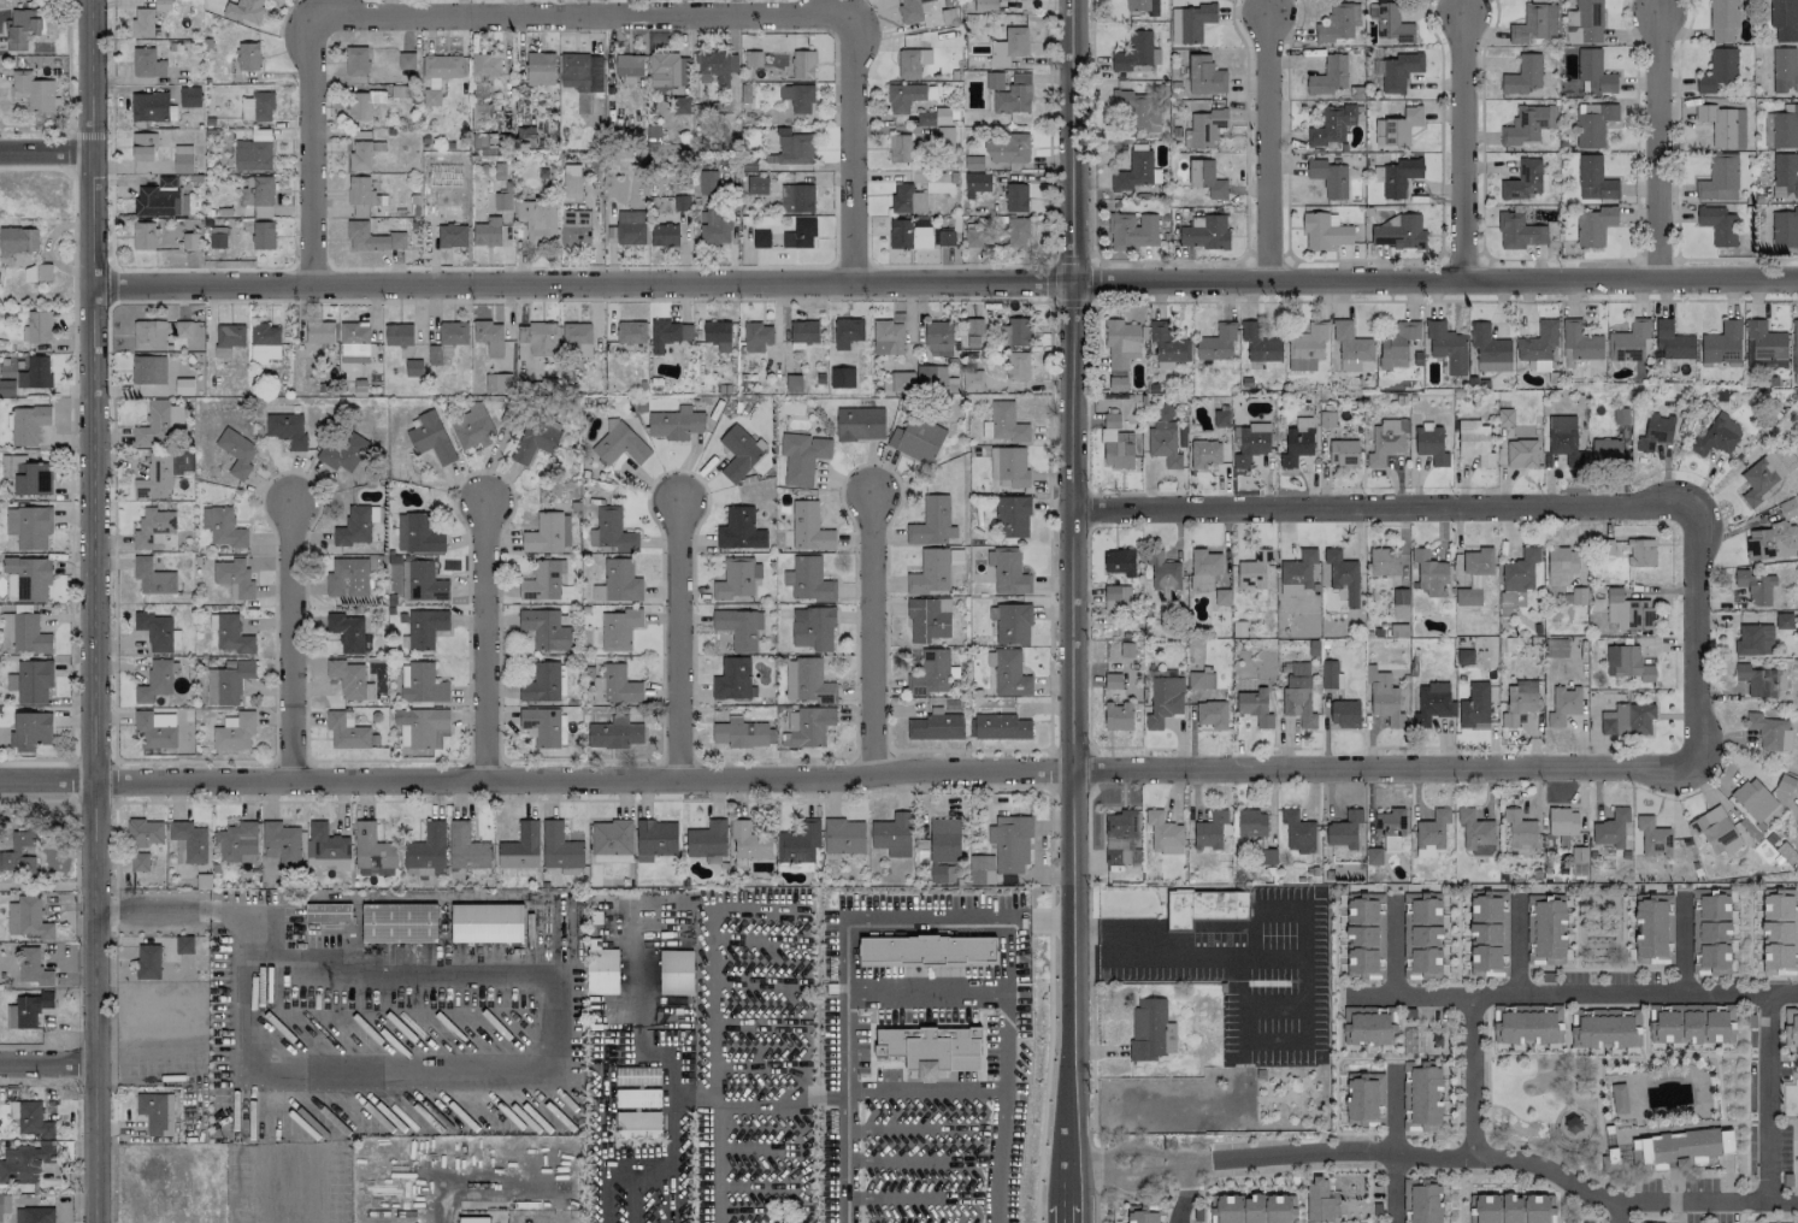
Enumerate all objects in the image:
building: (1000, 0)
building: (161, 5)
building: (984, 6)
building: (1143, 6)
building: (913, 8)
building: (244, 11)
road: (580, 14)
building: (1722, 19)
building: (1782, 20)
building: (1584, 22)
building: (142, 23)
building: (1189, 23)
building: (1338, 23)
building: (1390, 23)
building: (1534, 23)
building: (20, 28)
building: (1015, 35)
building: (1136, 52)
building: (248, 57)
building: (406, 60)
building: (355, 61)
building: (912, 61)
building: (148, 64)
building: (802, 65)
building: (629, 66)
building: (714, 66)
building: (540, 69)
building: (1719, 70)
building: (1784, 70)
building: (484, 71)
building: (667, 71)
building: (1399, 71)
building: (1593, 71)
building: (580, 72)
building: (438, 75)
building: (1522, 75)
building: (1328, 76)
building: (994, 79)
building: (31, 90)
building: (1013, 95)
building: (189, 96)
building: (903, 96)
building: (797, 98)
building: (258, 106)
building: (358, 106)
building: (148, 107)
building: (1136, 111)
building: (932, 117)
building: (1528, 124)
building: (1593, 124)
building: (1332, 125)
building: (1723, 125)
building: (1397, 128)
building: (1784, 128)
building: (1203, 129)
road: (34, 131)
road: (69, 131)
building: (525, 136)
building: (485, 141)
building: (142, 147)
building: (794, 147)
road: (1266, 147)
road: (1660, 147)
building: (900, 148)
road: (1463, 148)
building: (1007, 149)
road: (43, 154)
building: (364, 154)
building: (252, 155)
building: (182, 159)
building: (973, 163)
building: (1133, 171)
building: (1397, 176)
building: (1784, 176)
building: (1328, 177)
building: (1719, 178)
building: (1208, 179)
building: (1593, 179)
building: (1523, 181)
building: (707, 182)
building: (571, 183)
building: (975, 183)
building: (756, 185)
building: (258, 195)
building: (362, 196)
building: (1015, 197)
building: (160, 199)
building: (797, 199)
building: (907, 199)
building: (501, 201)
building: (537, 221)
building: (1593, 225)
building: (1717, 225)
building: (715, 226)
building: (574, 228)
building: (630, 228)
building: (1784, 229)
building: (1132, 231)
building: (1324, 231)
building: (1519, 231)
building: (487, 232)
building: (1016, 232)
building: (1399, 232)
building: (263, 235)
building: (664, 235)
building: (800, 235)
building: (908, 235)
building: (143, 236)
building: (452, 236)
building: (217, 237)
building: (372, 238)
building: (760, 238)
building: (945, 238)
building: (973, 238)
building: (18, 240)
building: (189, 241)
building: (36, 273)
road: (943, 283)
building: (39, 326)
building: (973, 326)
building: (183, 329)
building: (196, 330)
building: (1016, 331)
building: (319, 332)
building: (631, 332)
building: (803, 332)
building: (847, 332)
building: (148, 335)
building: (397, 335)
building: (664, 335)
building: (717, 335)
building: (938, 336)
building: (489, 337)
building: (756, 337)
building: (888, 337)
building: (228, 338)
building: (537, 338)
building: (576, 338)
building: (973, 341)
building: (1672, 341)
building: (447, 342)
building: (1538, 342)
building: (1628, 342)
building: (264, 343)
building: (1168, 343)
building: (1216, 343)
building: (1260, 343)
building: (1579, 343)
building: (1722, 343)
building: (1397, 344)
building: (1763, 345)
building: (353, 347)
building: (1350, 347)
building: (1446, 347)
building: (1794, 347)
building: (1305, 348)
building: (1120, 350)
building: (1490, 350)
building: (1016, 366)
building: (412, 367)
building: (148, 370)
building: (34, 373)
building: (841, 377)
building: (902, 382)
building: (497, 383)
building: (790, 383)
building: (183, 386)
building: (6, 388)
building: (1621, 415)
building: (1504, 416)
building: (1006, 421)
building: (28, 424)
building: (159, 424)
building: (674, 424)
building: (860, 424)
building: (471, 427)
building: (287, 429)
building: (1655, 432)
building: (1716, 436)
building: (430, 437)
building: (916, 439)
building: (1564, 439)
building: (1386, 441)
building: (533, 442)
building: (1166, 442)
building: (1474, 442)
building: (1249, 443)
building: (1431, 444)
building: (620, 445)
building: (1296, 445)
building: (1116, 449)
building: (1605, 450)
building: (342, 451)
building: (738, 451)
building: (236, 453)
building: (1343, 453)
building: (1521, 453)
building: (1204, 454)
building: (802, 456)
road: (70, 460)
building: (1008, 466)
building: (154, 477)
building: (33, 478)
building: (1761, 478)
road: (1370, 508)
building: (1012, 516)
building: (932, 522)
building: (29, 526)
building: (222, 526)
building: (153, 527)
building: (353, 527)
building: (809, 527)
building: (611, 530)
building: (739, 530)
building: (548, 533)
building: (417, 534)
building: (1768, 540)
building: (1640, 553)
building: (955, 556)
building: (1119, 562)
building: (1384, 562)
building: (1560, 565)
building: (1203, 568)
building: (1252, 571)
building: (1520, 571)
building: (930, 573)
building: (1008, 573)
building: (1163, 573)
building: (1429, 573)
building: (1297, 574)
building: (1343, 574)
building: (1474, 575)
building: (152, 577)
building: (234, 578)
building: (347, 578)
building: (26, 579)
building: (737, 579)
building: (542, 580)
building: (808, 580)
building: (425, 581)
building: (618, 581)
building: (1755, 586)
building: (1116, 597)
building: (1221, 597)
building: (1399, 602)
road: (93, 610)
building: (1629, 610)
road: (1071, 611)
building: (927, 619)
building: (1012, 624)
building: (739, 627)
building: (425, 628)
building: (619, 628)
building: (544, 630)
building: (814, 630)
building: (154, 631)
building: (347, 632)
building: (230, 633)
building: (29, 634)
road: (874, 636)
road: (1694, 636)
road: (677, 639)
road: (289, 640)
road: (485, 640)
building: (1753, 640)
building: (1556, 648)
building: (1628, 664)
building: (932, 673)
building: (1009, 674)
building: (1330, 675)
building: (732, 679)
building: (349, 680)
building: (1112, 680)
building: (1201, 680)
building: (1761, 680)
building: (33, 681)
building: (154, 681)
building: (226, 681)
building: (807, 681)
building: (541, 683)
building: (423, 684)
building: (614, 686)
building: (1112, 693)
building: (1297, 695)
building: (1383, 698)
building: (1163, 701)
building: (1519, 701)
building: (1432, 704)
building: (1563, 705)
building: (1254, 707)
building: (1474, 707)
building: (1212, 714)
building: (1344, 714)
building: (1118, 716)
building: (1627, 719)
building: (543, 726)
building: (422, 727)
building: (807, 727)
building: (935, 727)
building: (1001, 727)
building: (30, 731)
building: (234, 731)
building: (346, 731)
building: (154, 732)
building: (1769, 732)
building: (615, 733)
building: (739, 733)
road: (836, 773)
building: (1753, 799)
building: (1562, 822)
building: (1251, 823)
building: (1390, 828)
building: (1611, 828)
building: (1210, 829)
building: (1344, 829)
building: (143, 832)
building: (1297, 832)
building: (1717, 832)
building: (1163, 833)
building: (1431, 834)
building: (1475, 834)
building: (1520, 834)
building: (843, 835)
building: (892, 835)
building: (611, 837)
building: (1652, 837)
building: (655, 839)
building: (707, 839)
building: (1120, 839)
building: (944, 840)
building: (749, 841)
building: (188, 843)
building: (281, 843)
building: (325, 843)
building: (798, 843)
building: (1010, 843)
building: (236, 844)
building: (520, 846)
building: (371, 847)
building: (559, 847)
building: (428, 849)
building: (466, 849)
building: (18, 855)
building: (138, 862)
building: (980, 870)
building: (375, 872)
building: (517, 872)
building: (937, 873)
building: (949, 874)
building: (1203, 906)
building: (326, 912)
building: (26, 917)
road: (916, 921)
building: (399, 923)
building: (487, 923)
building: (1543, 927)
building: (1652, 928)
building: (1708, 930)
building: (1779, 930)
building: (1487, 932)
building: (1364, 934)
building: (1422, 934)
building: (183, 944)
road: (1517, 944)
road: (1681, 945)
road: (1393, 947)
building: (927, 951)
road: (1246, 953)
building: (147, 962)
building: (33, 967)
road: (1599, 968)
building: (600, 969)
building: (676, 973)
road: (1516, 974)
road: (1794, 977)
road: (1680, 979)
road: (1745, 979)
road: (713, 980)
road: (1457, 980)
road: (1392, 985)
road: (977, 989)
road: (1572, 994)
road: (552, 1004)
building: (26, 1010)
road: (1092, 1017)
building: (1367, 1024)
building: (1526, 1026)
building: (1791, 1027)
building: (1605, 1028)
building: (1150, 1030)
road: (1273, 1042)
road: (1401, 1044)
building: (1434, 1045)
road: (1048, 1054)
road: (1790, 1058)
road: (1768, 1059)
road: (1620, 1060)
road: (1336, 1063)
road: (47, 1065)
road: (1455, 1076)
road: (990, 1092)
road: (688, 1094)
building: (1422, 1094)
building: (1363, 1098)
road: (1768, 1098)
park: (1544, 1107)
road: (1395, 1111)
building: (155, 1112)
road: (850, 1113)
building: (33, 1119)
road: (926, 1130)
road: (1391, 1134)
road: (1474, 1141)
building: (1678, 1147)
road: (1532, 1148)
road: (1397, 1152)
road: (925, 1160)
road: (1119, 1160)
building: (24, 1162)
road: (1098, 1168)
road: (1396, 1171)
road: (1285, 1172)
road: (1556, 1174)
road: (462, 1187)
road: (1395, 1187)
road: (1186, 1188)
road: (1185, 1192)
road: (1133, 1194)
road: (924, 1198)
road: (1140, 1199)
building: (1317, 1200)
building: (1421, 1200)
road: (1705, 1201)
road: (1674, 1204)
road: (1100, 1205)
building: (2, 1207)
building: (1251, 1207)
building: (1485, 1207)
building: (1509, 1209)
building: (1538, 1209)
building: (34, 1215)
building: (1143, 1215)
building: (473, 1219)
road: (1676, 1219)

